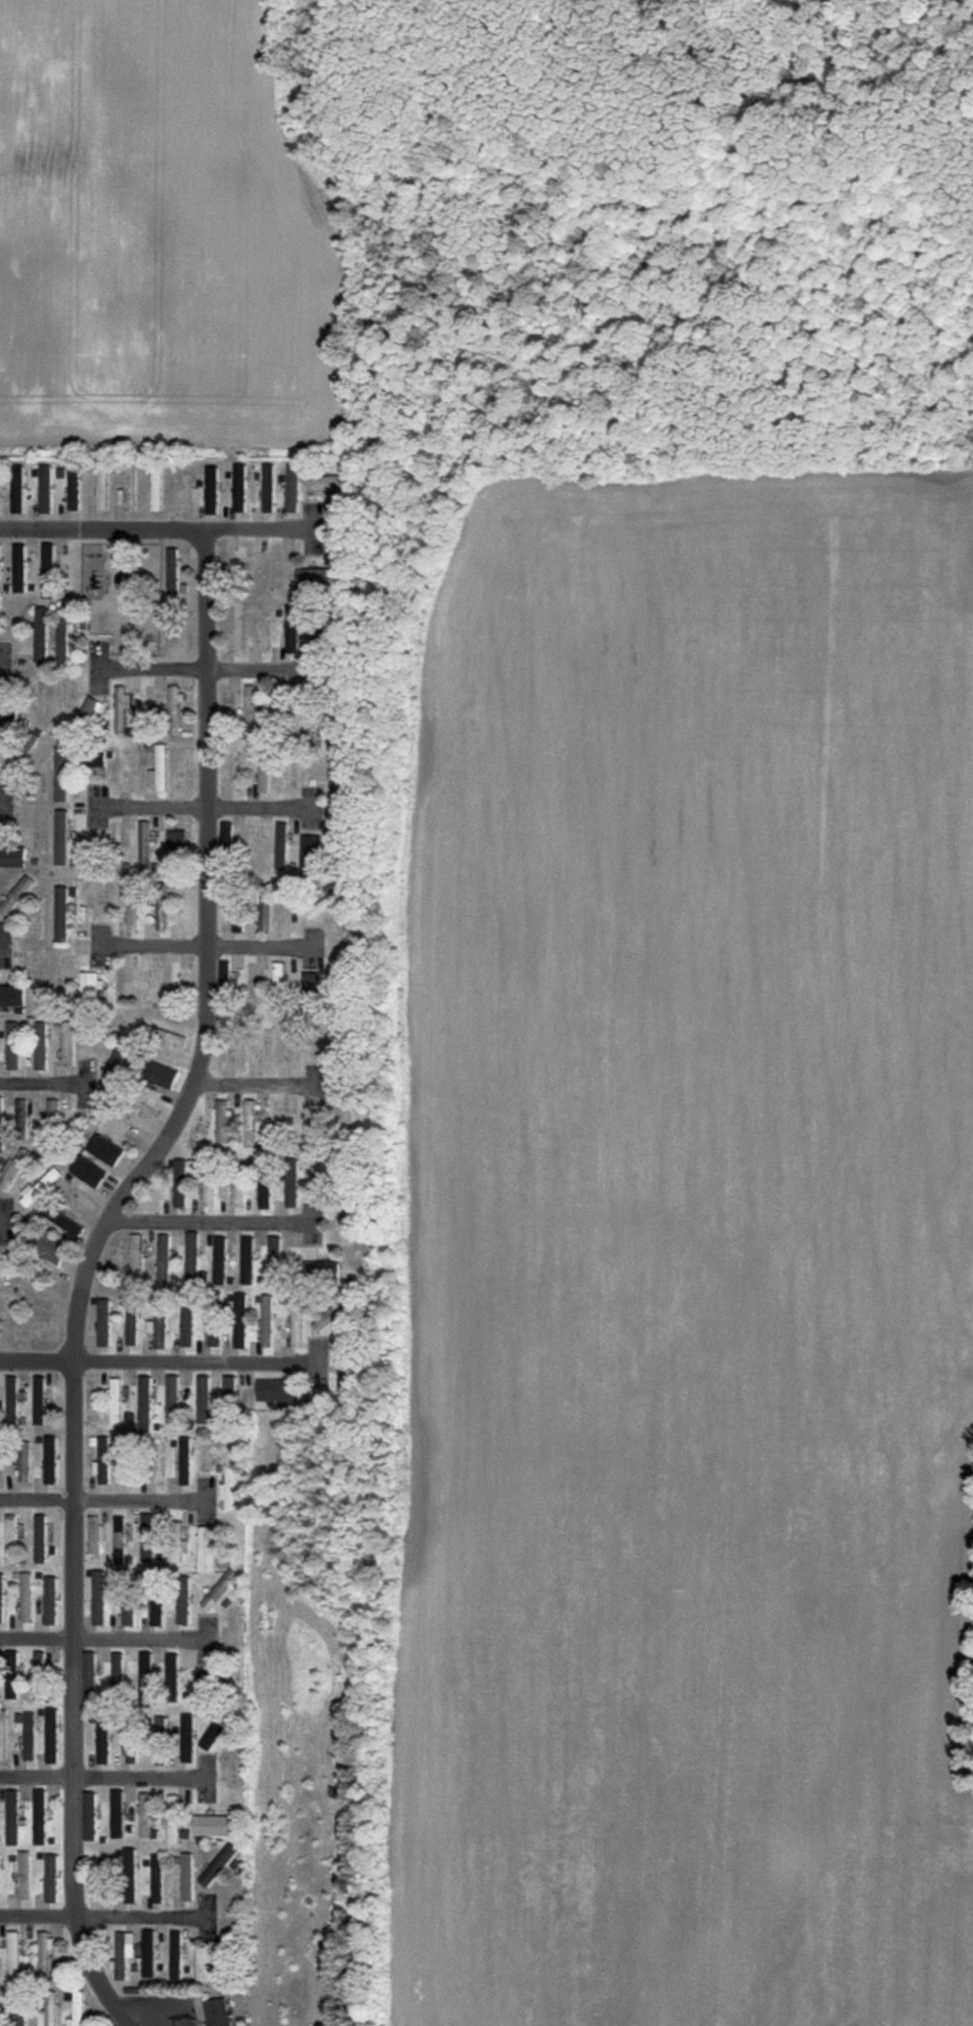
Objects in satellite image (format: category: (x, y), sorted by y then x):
building: (294, 471)
building: (239, 473)
building: (268, 477)
building: (328, 482)
building: (102, 486)
building: (18, 488)
building: (46, 489)
building: (212, 490)
road: (160, 530)
building: (19, 568)
building: (48, 571)
building: (172, 571)
building: (317, 579)
building: (0, 584)
building: (292, 629)
building: (41, 634)
building: (64, 635)
road: (3, 668)
road: (209, 668)
building: (121, 708)
building: (174, 708)
building: (251, 711)
building: (88, 712)
building: (7, 719)
building: (316, 720)
building: (96, 759)
building: (159, 769)
building: (263, 771)
building: (61, 774)
building: (340, 785)
road: (202, 808)
building: (115, 833)
building: (61, 837)
building: (144, 845)
building: (281, 845)
building: (311, 852)
building: (12, 856)
building: (15, 895)
building: (326, 902)
building: (132, 908)
building: (61, 913)
building: (160, 913)
building: (264, 913)
building: (237, 921)
road: (0, 943)
road: (204, 948)
building: (225, 976)
building: (278, 981)
building: (91, 989)
building: (310, 989)
building: (11, 995)
building: (159, 1037)
building: (68, 1044)
building: (12, 1045)
building: (40, 1046)
building: (118, 1059)
building: (159, 1074)
road: (253, 1084)
road: (45, 1085)
building: (52, 1111)
building: (20, 1112)
building: (1, 1117)
building: (221, 1121)
building: (249, 1123)
building: (105, 1150)
building: (13, 1167)
building: (88, 1171)
building: (180, 1183)
building: (264, 1183)
building: (291, 1183)
building: (39, 1187)
building: (208, 1191)
building: (237, 1193)
building: (61, 1220)
road: (208, 1222)
road: (3, 1223)
building: (50, 1248)
building: (191, 1256)
building: (135, 1257)
building: (163, 1258)
building: (276, 1259)
building: (219, 1260)
building: (247, 1260)
building: (12, 1268)
road: (82, 1269)
building: (326, 1269)
building: (332, 1311)
building: (297, 1318)
building: (131, 1321)
building: (158, 1321)
building: (239, 1321)
building: (267, 1321)
building: (103, 1322)
building: (187, 1322)
building: (214, 1332)
building: (346, 1360)
road: (161, 1362)
building: (230, 1389)
building: (278, 1390)
building: (172, 1399)
building: (204, 1399)
building: (39, 1400)
building: (11, 1401)
building: (115, 1401)
building: (144, 1403)
building: (50, 1460)
building: (103, 1460)
building: (23, 1461)
building: (185, 1461)
building: (129, 1475)
building: (228, 1489)
road: (107, 1498)
building: (93, 1535)
building: (148, 1537)
building: (40, 1538)
building: (11, 1539)
building: (119, 1540)
building: (177, 1547)
building: (1, 1583)
building: (26, 1597)
building: (99, 1598)
building: (51, 1600)
building: (184, 1605)
building: (157, 1609)
building: (1, 1611)
building: (129, 1613)
road: (106, 1638)
building: (12, 1659)
building: (117, 1672)
building: (42, 1675)
building: (90, 1675)
building: (172, 1677)
building: (146, 1680)
building: (206, 1683)
building: (12, 1685)
building: (160, 1727)
building: (213, 1734)
building: (52, 1735)
building: (3, 1736)
building: (29, 1737)
building: (187, 1738)
building: (103, 1741)
building: (131, 1750)
road: (103, 1778)
building: (117, 1814)
building: (145, 1815)
building: (90, 1816)
building: (13, 1817)
building: (40, 1817)
building: (173, 1819)
building: (213, 1825)
building: (218, 1865)
building: (24, 1875)
building: (129, 1875)
building: (187, 1877)
building: (0, 1878)
building: (52, 1879)
building: (157, 1879)
road: (106, 1914)
building: (123, 1952)
building: (44, 1953)
building: (148, 1954)
building: (176, 1954)
building: (205, 1963)
building: (77, 2010)
building: (217, 2012)
building: (22, 2013)

